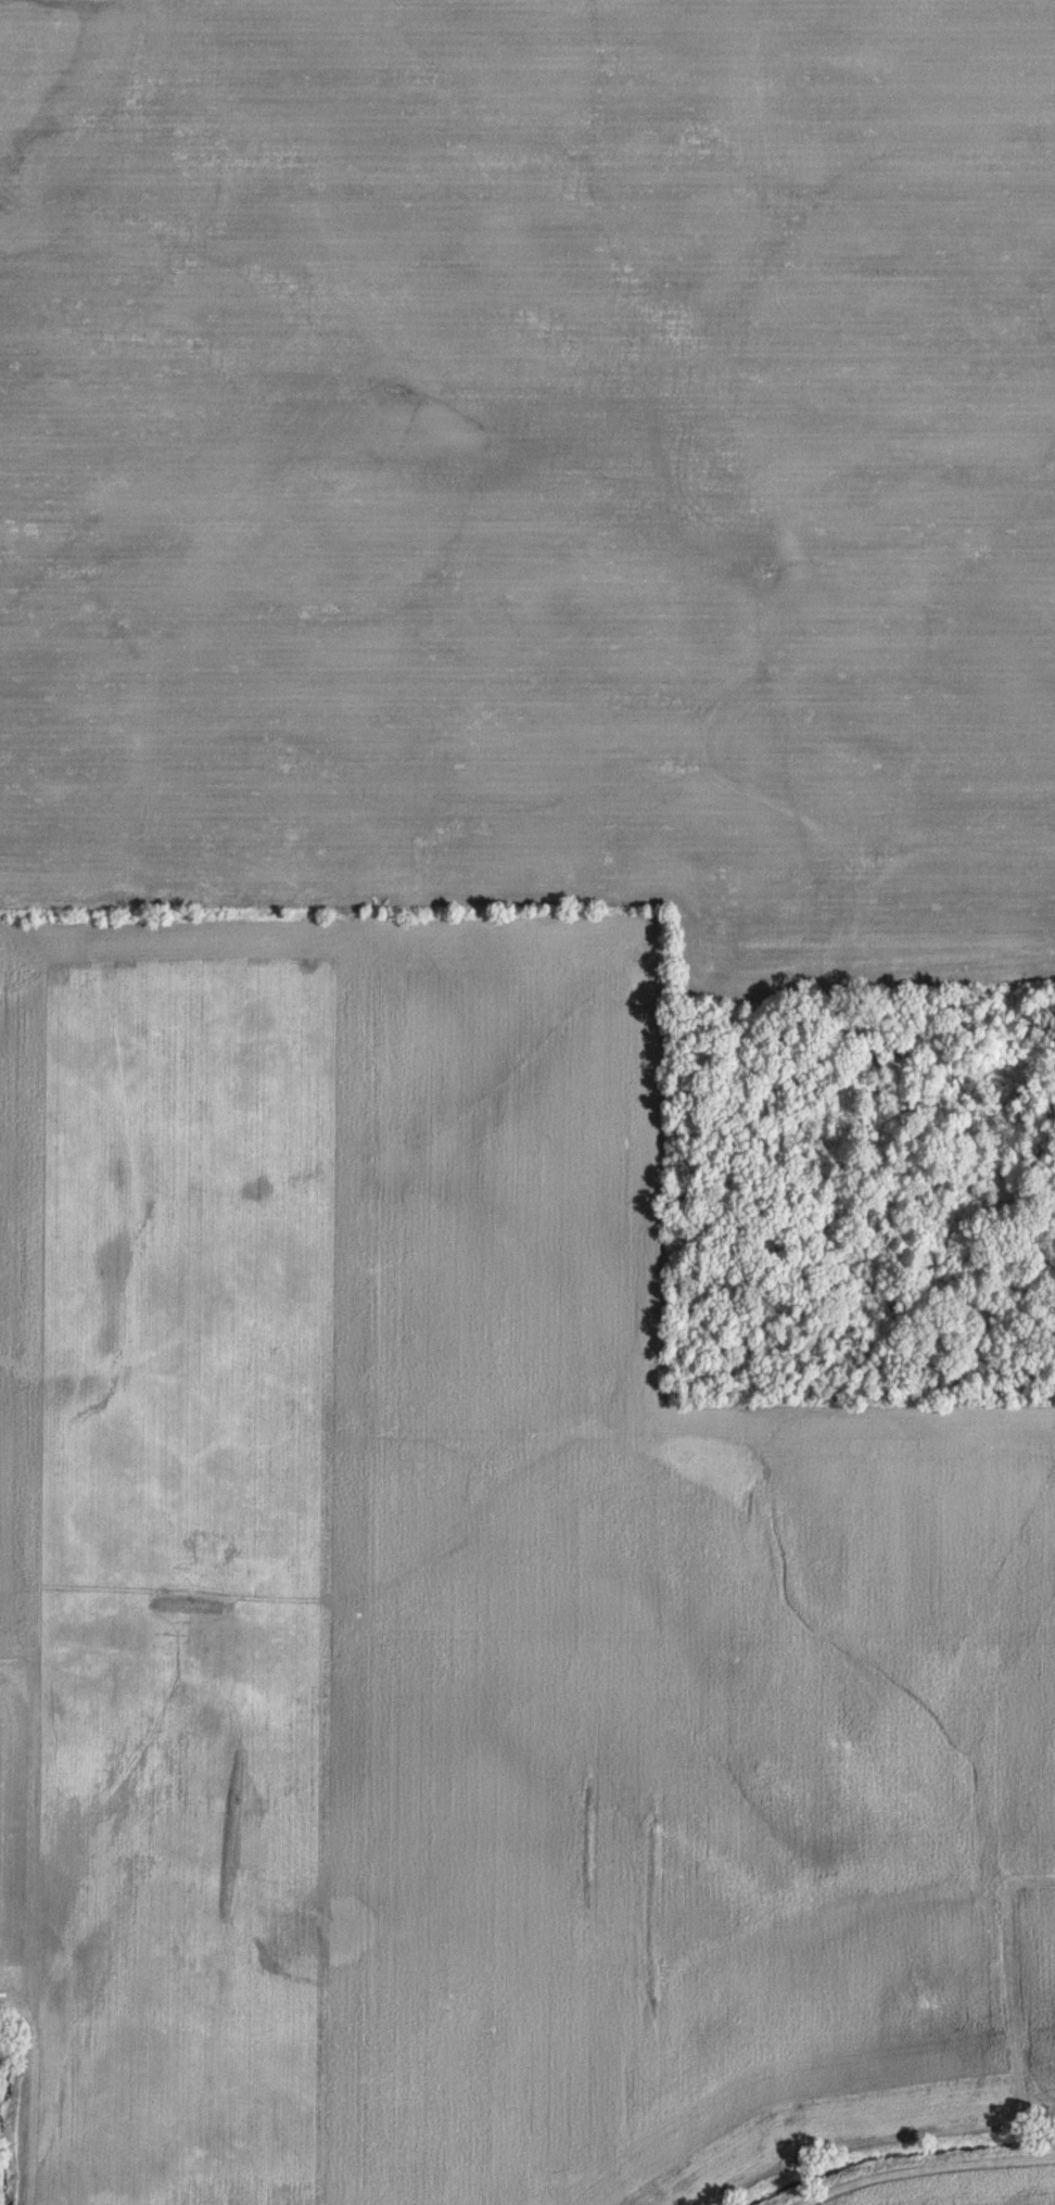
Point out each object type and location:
crop: (538, 462)

